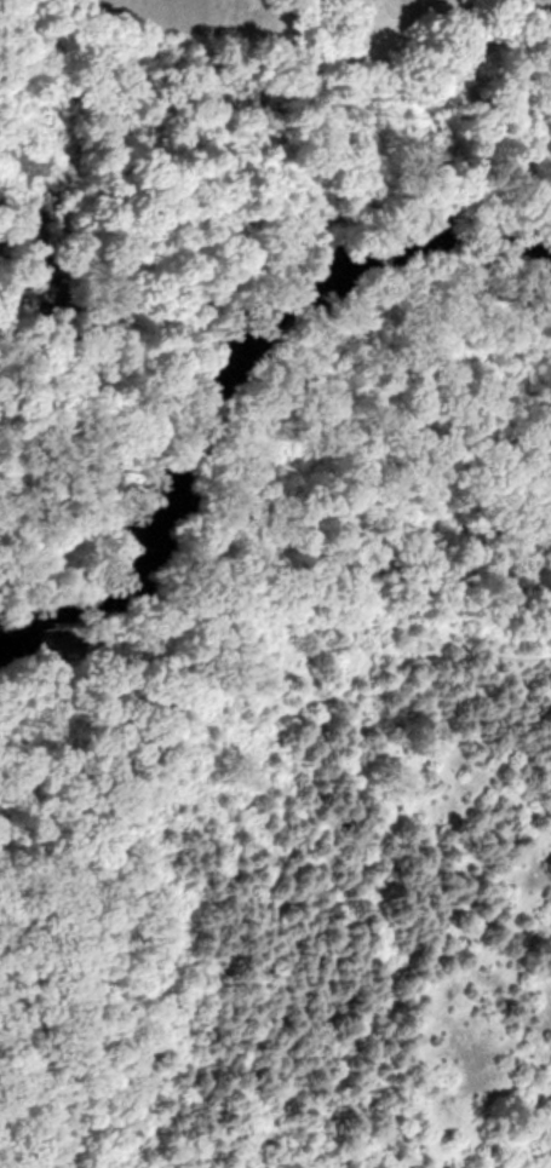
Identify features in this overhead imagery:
road: (259, 272)
river: (218, 359)
road: (271, 570)
park: (275, 583)

